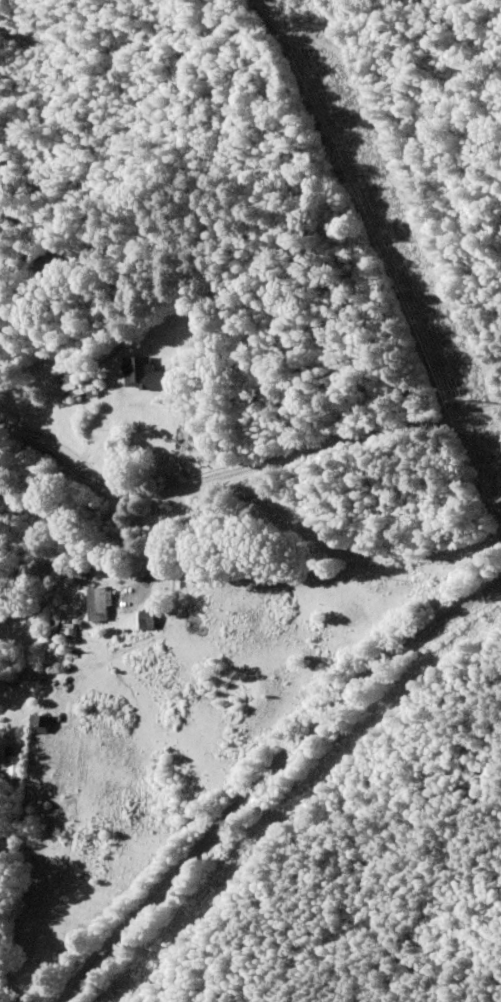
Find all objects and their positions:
road: (250, 46)
building: (143, 376)
building: (77, 386)
road: (251, 456)
building: (98, 605)
road: (279, 617)
building: (145, 621)
building: (38, 721)
road: (232, 743)

